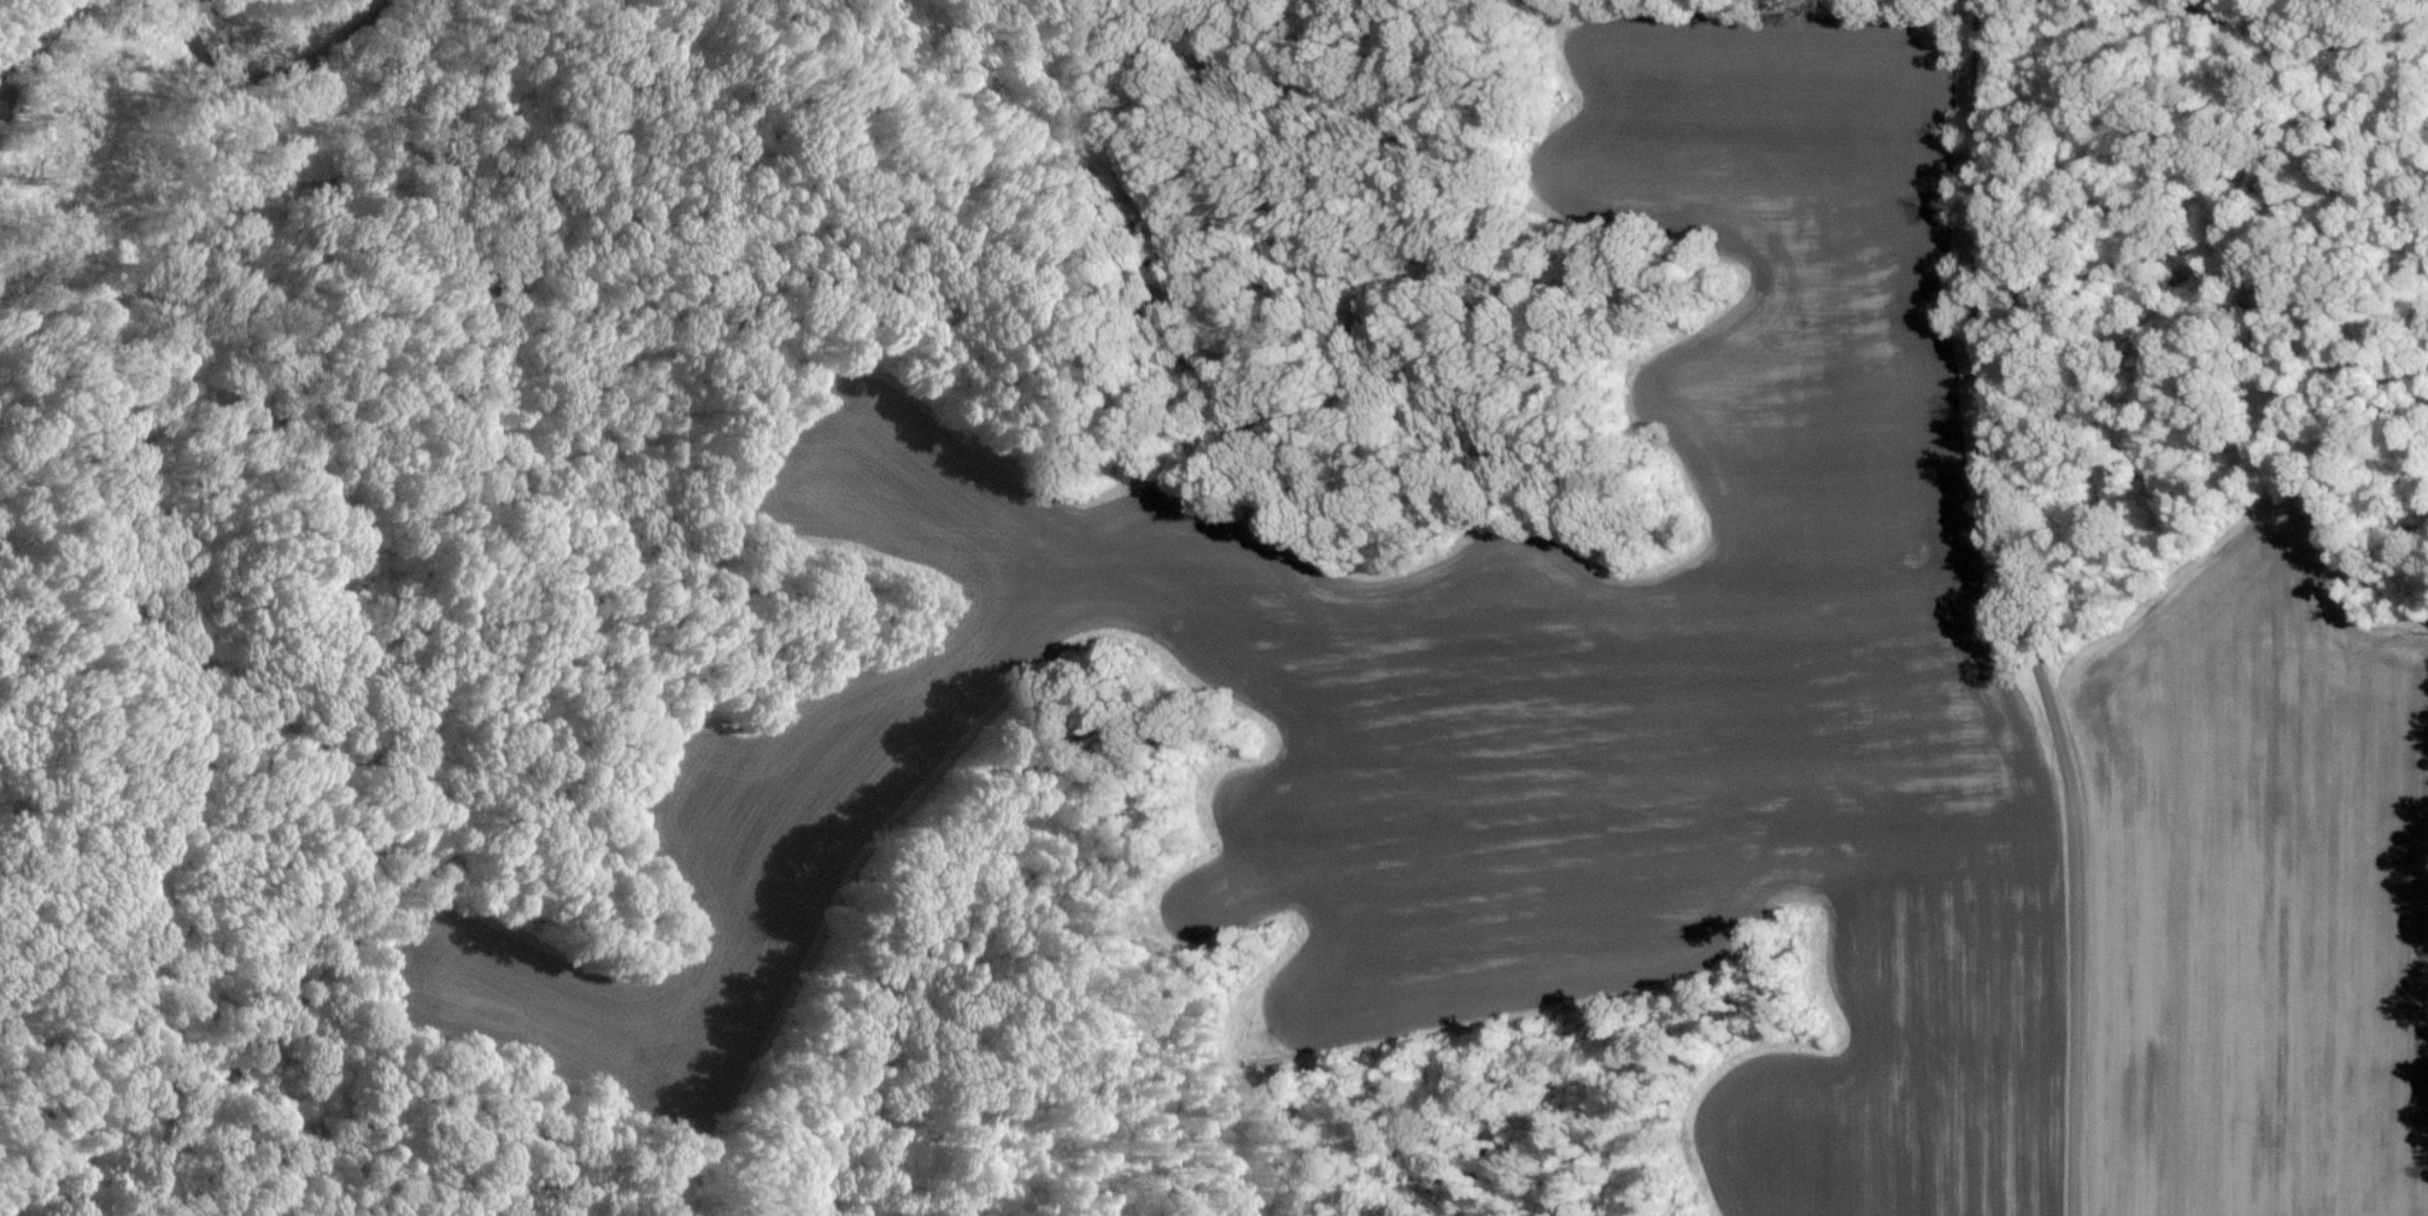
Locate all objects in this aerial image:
road: (2012, 610)

